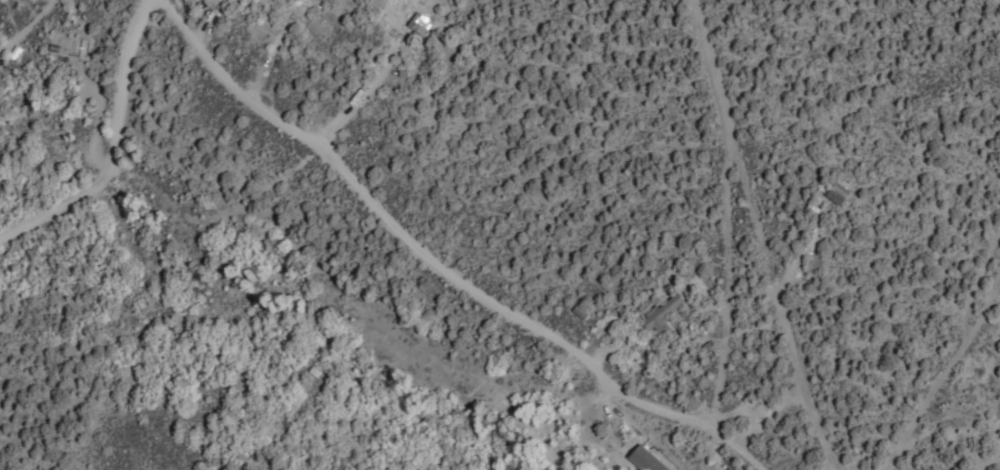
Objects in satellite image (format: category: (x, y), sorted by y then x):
building: (418, 22)
road: (375, 74)
road: (365, 212)
road: (710, 247)
road: (670, 293)
building: (661, 312)
road: (687, 417)
building: (645, 459)

